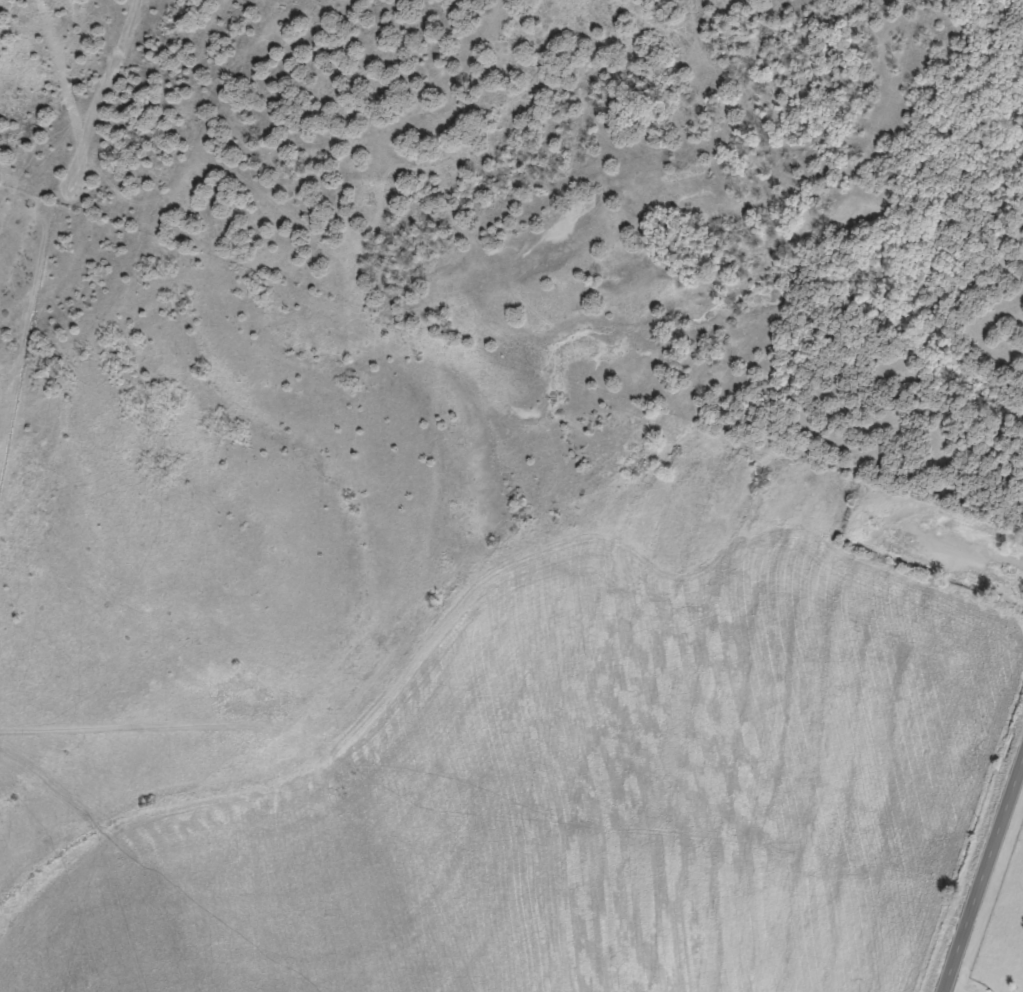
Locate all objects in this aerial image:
road: (983, 875)
road: (945, 991)

